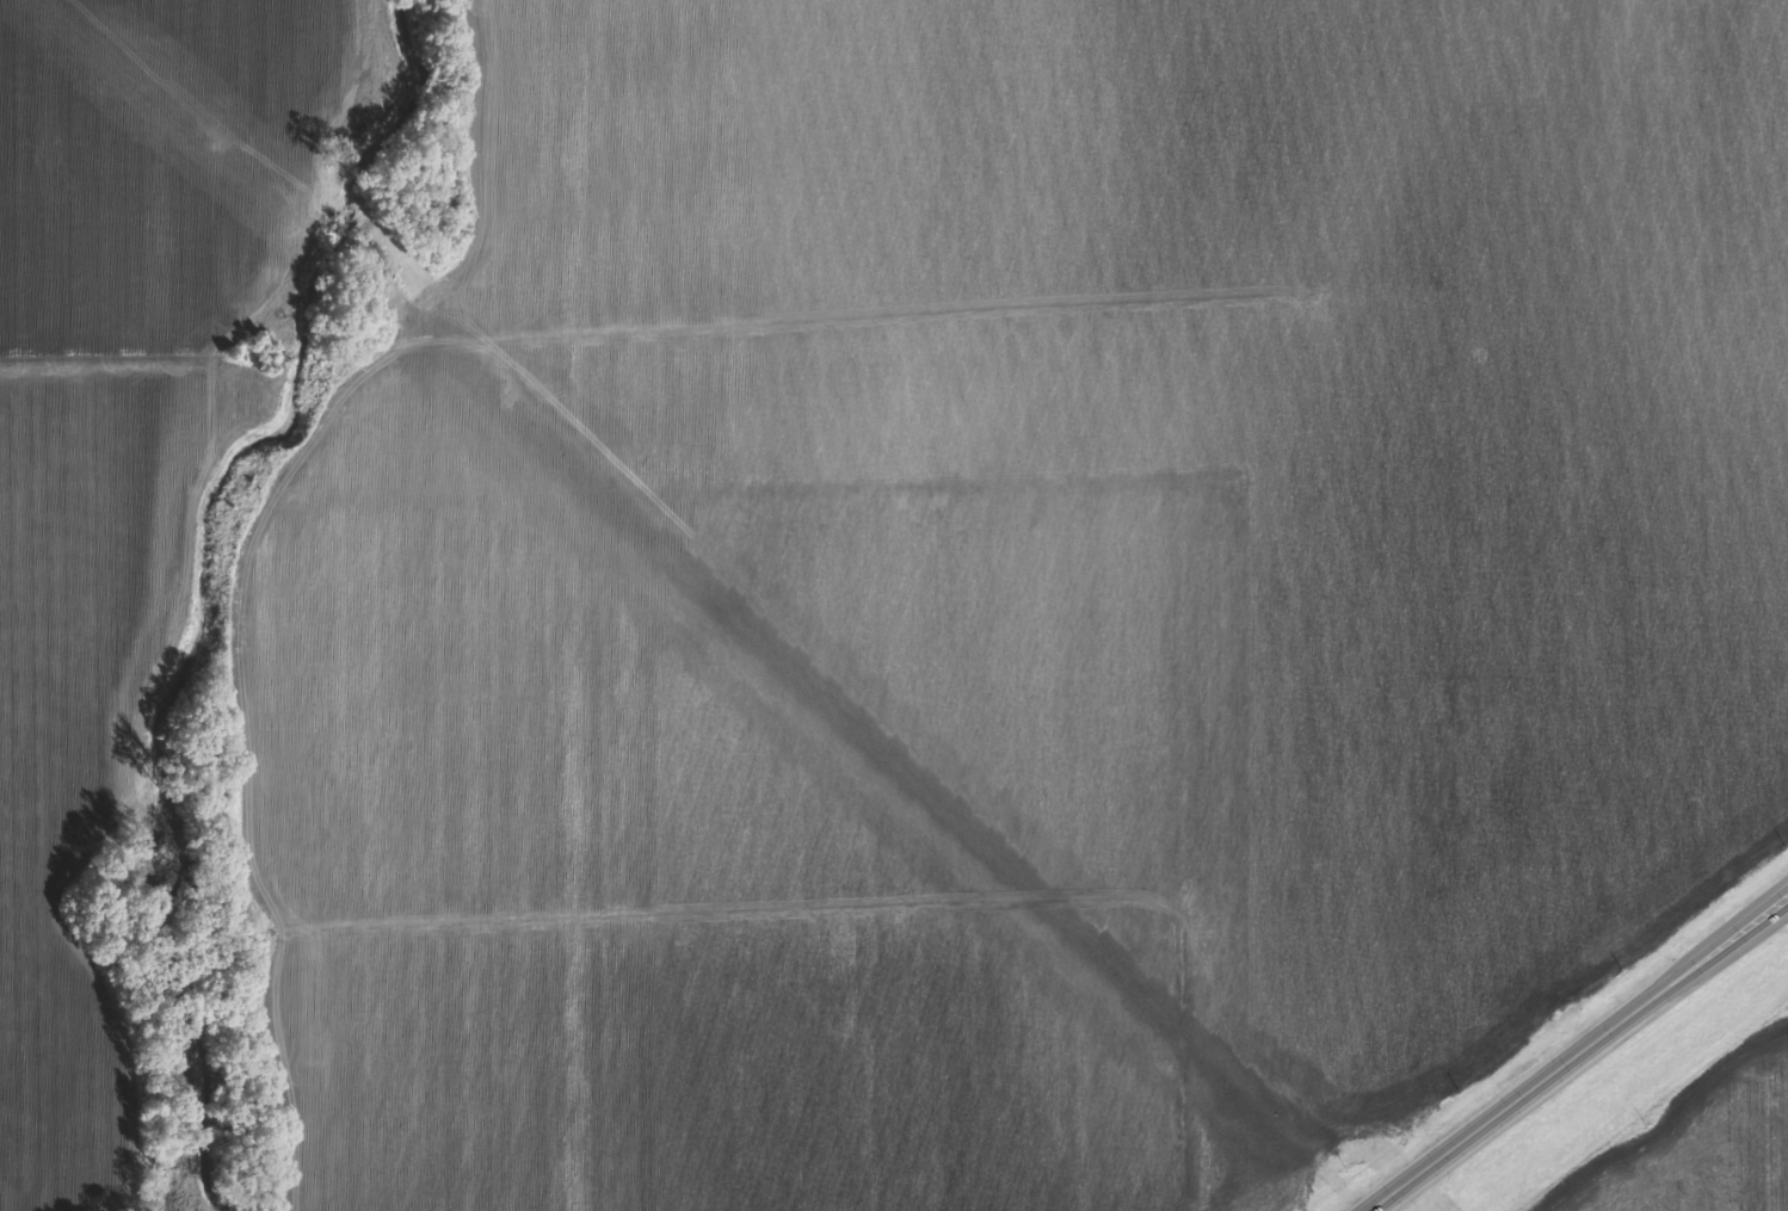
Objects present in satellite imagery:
road: (1562, 1051)

